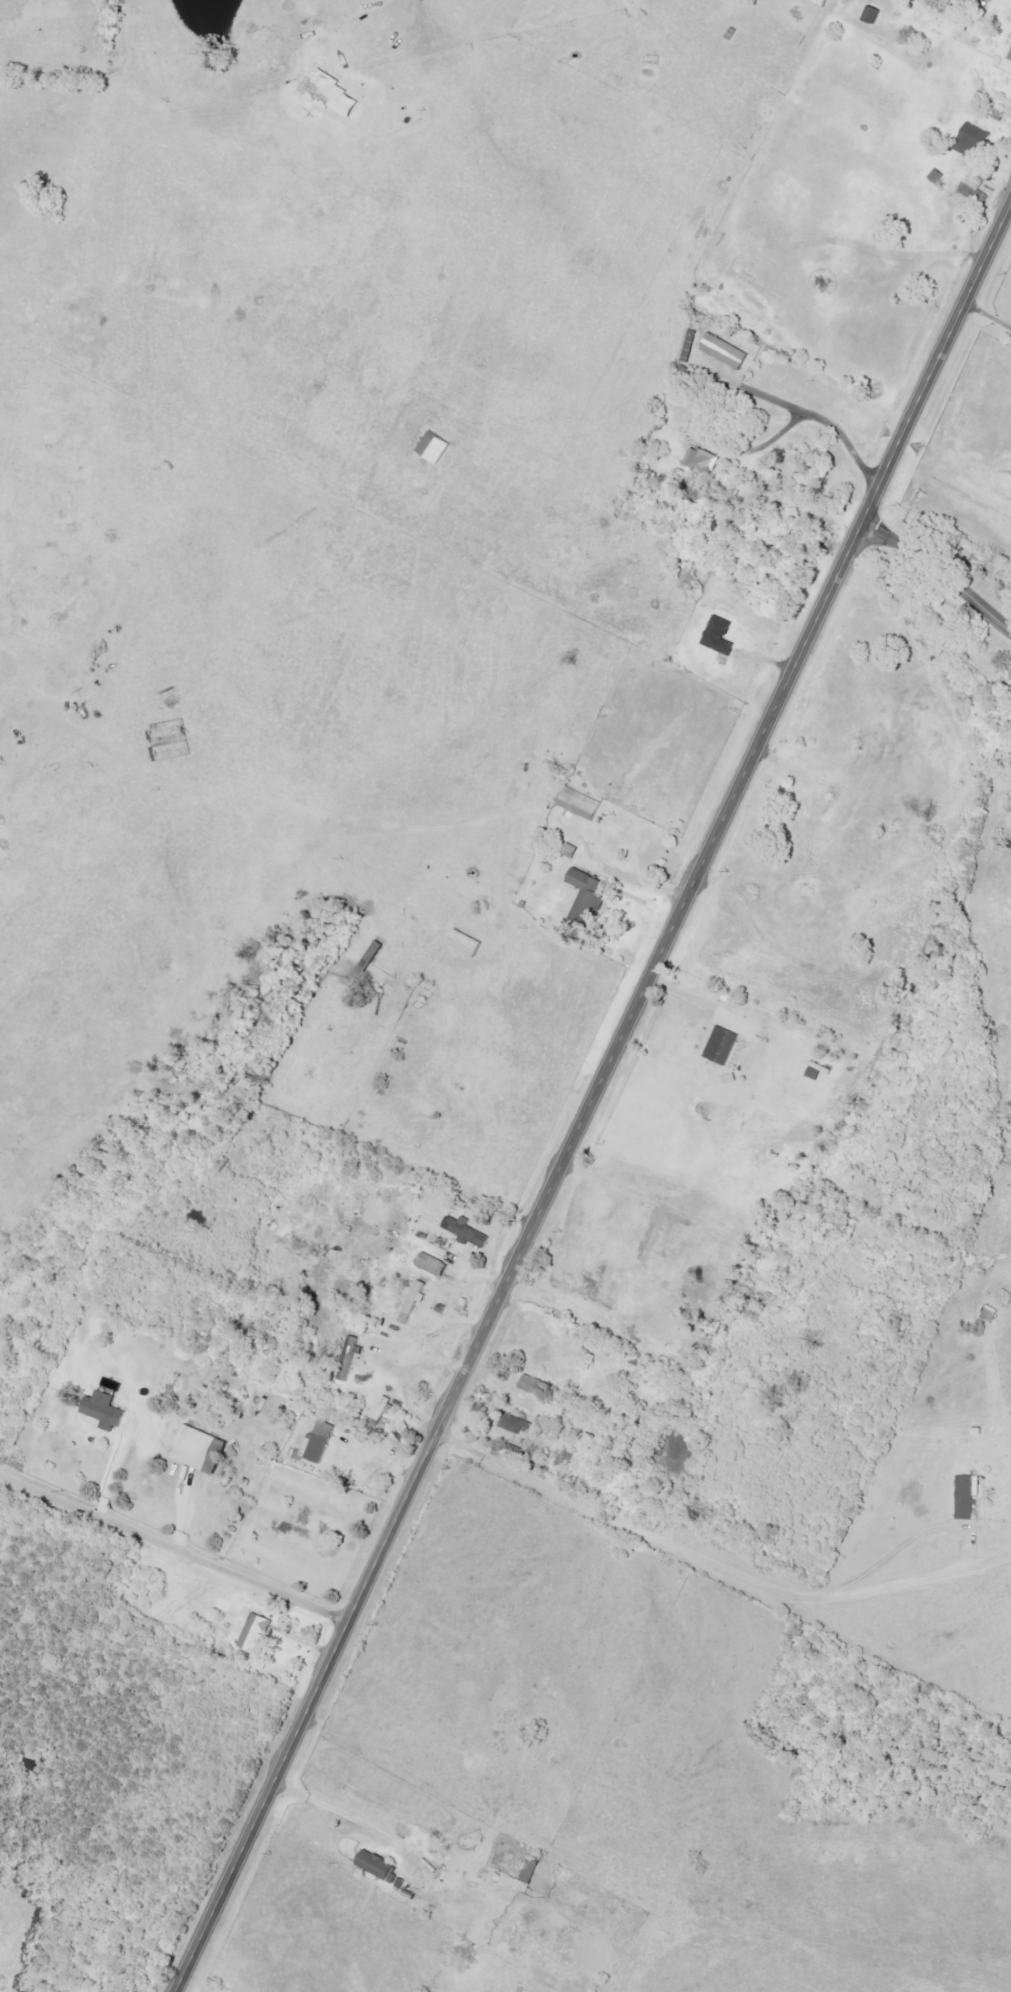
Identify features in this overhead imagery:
building: (945, 1)
building: (819, 2)
building: (869, 15)
building: (1009, 57)
building: (971, 138)
road: (989, 314)
building: (722, 351)
road: (829, 423)
building: (432, 448)
building: (699, 460)
road: (937, 573)
park: (947, 587)
building: (717, 635)
road: (631, 880)
building: (582, 895)
building: (461, 943)
building: (719, 1045)
road: (596, 1099)
building: (463, 1230)
building: (429, 1263)
building: (411, 1302)
building: (349, 1359)
building: (534, 1384)
building: (107, 1410)
building: (381, 1410)
building: (513, 1424)
building: (318, 1442)
building: (204, 1449)
building: (965, 1495)
road: (175, 1544)
road: (719, 1554)
building: (256, 1631)
road: (350, 1816)
building: (381, 1866)
building: (528, 1870)
park: (121, 1889)

